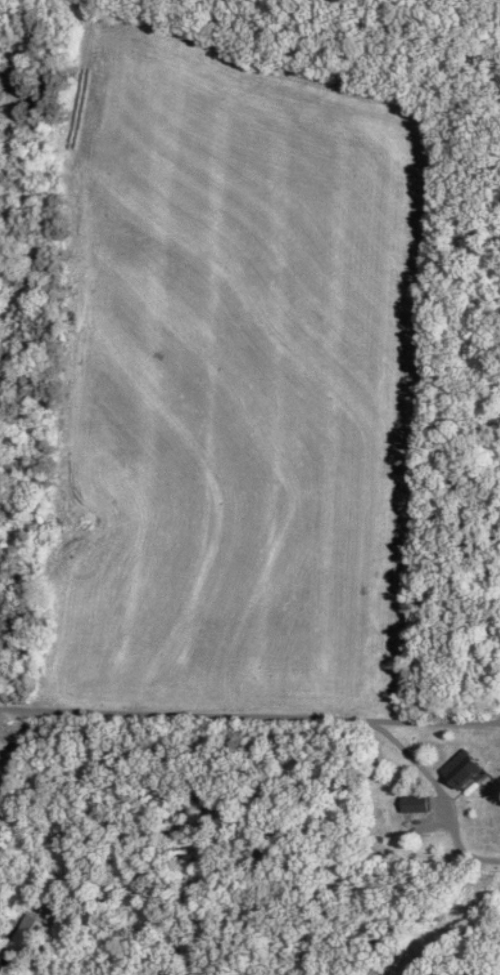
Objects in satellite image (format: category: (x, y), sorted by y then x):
road: (188, 714)
road: (489, 767)
building: (463, 770)
building: (415, 805)
building: (22, 945)

